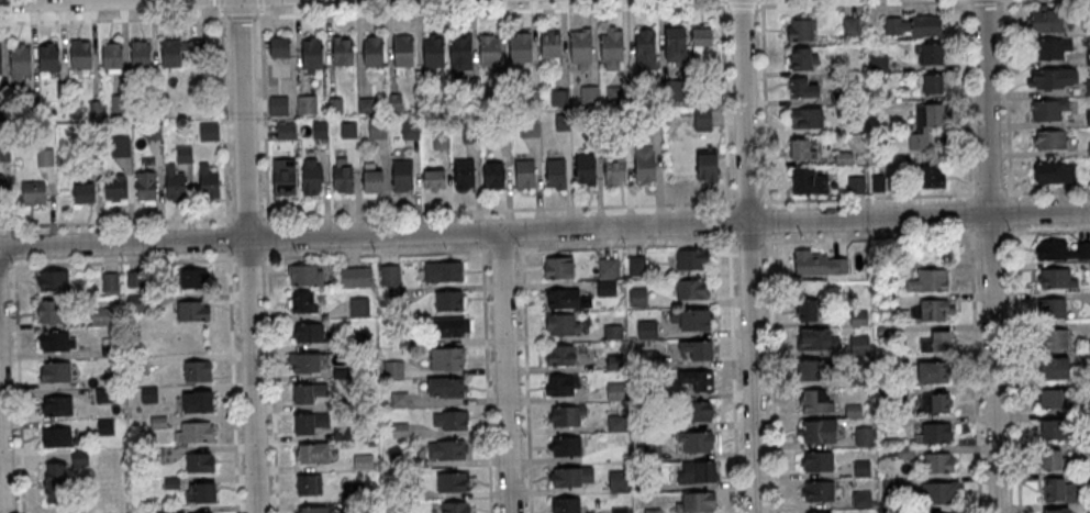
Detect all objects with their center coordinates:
road: (48, 0)
road: (983, 0)
road: (999, 0)
road: (864, 3)
road: (220, 4)
road: (259, 4)
road: (743, 7)
road: (491, 11)
road: (240, 15)
road: (113, 19)
building: (1047, 21)
building: (849, 25)
building: (912, 26)
building: (800, 29)
building: (702, 37)
building: (675, 42)
building: (552, 44)
building: (522, 46)
building: (280, 47)
building: (581, 48)
building: (611, 49)
building: (646, 49)
building: (1050, 49)
building: (403, 51)
building: (343, 52)
building: (374, 52)
building: (434, 52)
building: (461, 52)
building: (490, 52)
building: (171, 53)
building: (81, 54)
building: (312, 54)
building: (931, 54)
building: (113, 55)
building: (141, 56)
building: (802, 57)
building: (49, 58)
building: (21, 59)
building: (0, 62)
building: (1050, 78)
building: (932, 83)
building: (801, 88)
building: (618, 94)
building: (638, 94)
building: (590, 96)
building: (559, 97)
road: (1006, 98)
road: (966, 100)
building: (121, 103)
building: (307, 104)
road: (725, 104)
road: (765, 104)
building: (278, 105)
building: (335, 105)
building: (366, 105)
building: (1048, 109)
road: (264, 115)
road: (223, 116)
building: (1088, 116)
building: (805, 118)
building: (654, 119)
building: (702, 119)
building: (592, 121)
building: (564, 123)
building: (925, 124)
building: (530, 126)
building: (411, 129)
building: (320, 130)
building: (378, 130)
building: (285, 131)
building: (209, 132)
building: (470, 134)
building: (1048, 138)
building: (441, 141)
building: (353, 143)
building: (120, 148)
building: (804, 148)
building: (91, 154)
building: (185, 154)
building: (46, 157)
building: (844, 157)
building: (708, 164)
building: (645, 166)
building: (586, 168)
building: (615, 168)
building: (1054, 171)
building: (464, 174)
building: (525, 174)
building: (556, 174)
building: (402, 175)
building: (493, 175)
building: (933, 175)
building: (311, 178)
building: (343, 178)
building: (372, 178)
building: (434, 178)
building: (283, 180)
building: (174, 181)
building: (809, 181)
building: (208, 182)
building: (856, 185)
building: (145, 186)
building: (1, 188)
building: (114, 188)
road: (1047, 190)
building: (84, 191)
road: (990, 192)
building: (34, 193)
road: (619, 205)
road: (1010, 211)
road: (970, 213)
road: (247, 218)
road: (116, 222)
road: (769, 222)
road: (728, 223)
road: (544, 228)
road: (1047, 231)
road: (990, 233)
road: (268, 236)
road: (227, 237)
road: (620, 245)
building: (1063, 249)
road: (14, 253)
road: (247, 256)
road: (748, 256)
road: (989, 256)
road: (249, 257)
building: (693, 260)
road: (116, 261)
building: (821, 265)
building: (637, 266)
building: (559, 268)
building: (609, 268)
building: (443, 271)
building: (304, 275)
building: (390, 275)
building: (356, 277)
building: (192, 278)
building: (1055, 278)
building: (53, 280)
building: (930, 280)
building: (110, 281)
building: (607, 288)
building: (691, 290)
building: (398, 295)
building: (638, 298)
building: (565, 299)
building: (449, 301)
building: (137, 302)
building: (302, 302)
building: (887, 303)
building: (1052, 306)
building: (358, 309)
building: (807, 309)
building: (931, 309)
building: (49, 311)
building: (193, 311)
building: (99, 316)
building: (859, 317)
building: (696, 320)
building: (560, 324)
building: (452, 327)
building: (647, 330)
building: (612, 332)
building: (885, 332)
building: (308, 333)
building: (399, 336)
building: (1054, 337)
building: (816, 338)
building: (360, 339)
building: (55, 341)
building: (937, 342)
building: (860, 346)
building: (698, 350)
building: (561, 356)
building: (447, 358)
building: (649, 358)
building: (305, 363)
building: (615, 363)
building: (140, 365)
building: (887, 366)
building: (1054, 367)
building: (393, 369)
building: (815, 369)
road: (975, 369)
road: (1014, 369)
road: (526, 370)
building: (56, 371)
building: (197, 371)
road: (486, 371)
road: (504, 371)
building: (932, 371)
building: (342, 373)
road: (733, 375)
road: (772, 375)
building: (860, 377)
building: (698, 380)
road: (271, 381)
road: (232, 382)
building: (563, 386)
road: (19, 387)
building: (446, 387)
building: (309, 391)
building: (615, 392)
building: (104, 394)
building: (149, 394)
building: (888, 394)
building: (658, 395)
building: (1054, 398)
building: (400, 400)
building: (820, 401)
building: (936, 401)
building: (199, 402)
building: (343, 403)
building: (58, 406)
building: (696, 411)
building: (854, 411)
building: (567, 415)
building: (449, 419)
building: (158, 422)
building: (310, 422)
building: (618, 423)
building: (891, 423)
building: (107, 426)
building: (1052, 430)
building: (400, 431)
building: (198, 432)
building: (821, 432)
building: (935, 432)
building: (343, 433)
building: (55, 436)
building: (865, 436)
building: (697, 442)
building: (567, 446)
building: (447, 450)
building: (907, 451)
building: (652, 453)
building: (314, 454)
building: (619, 455)
building: (155, 456)
building: (400, 459)
building: (1052, 460)
building: (819, 461)
building: (200, 462)
building: (363, 462)
building: (938, 462)
building: (863, 468)
building: (698, 472)
building: (572, 477)
building: (55, 481)
building: (171, 482)
building: (452, 482)
building: (616, 483)
building: (644, 483)
building: (310, 484)
building: (892, 487)
building: (401, 488)
building: (354, 491)
building: (820, 491)
building: (1059, 491)
building: (200, 492)
building: (938, 493)
building: (861, 499)
building: (699, 503)
building: (566, 505)
building: (456, 508)
building: (312, 509)
building: (165, 510)
building: (653, 511)
building: (894, 511)
road: (0, 512)

